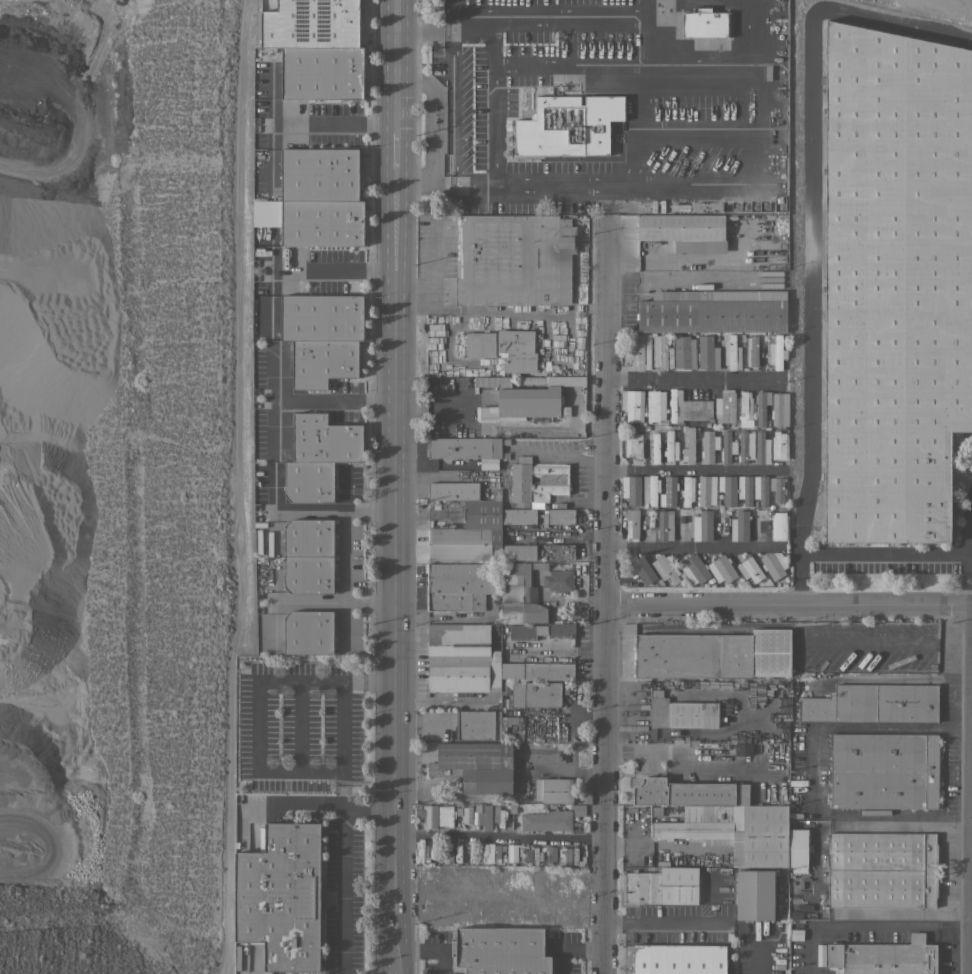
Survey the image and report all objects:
road: (454, 16)
road: (554, 16)
building: (705, 23)
building: (311, 24)
road: (745, 24)
road: (427, 33)
building: (322, 73)
road: (495, 102)
road: (455, 110)
gas station: (433, 113)
road: (435, 116)
road: (338, 121)
building: (568, 125)
building: (320, 174)
road: (417, 180)
road: (445, 184)
road: (669, 186)
building: (312, 221)
road: (811, 223)
building: (686, 231)
building: (515, 260)
road: (339, 271)
building: (895, 281)
building: (713, 311)
building: (321, 317)
building: (502, 348)
building: (640, 351)
building: (661, 351)
building: (752, 351)
building: (684, 352)
building: (776, 352)
building: (707, 353)
building: (731, 353)
building: (322, 362)
building: (482, 380)
road: (696, 381)
road: (339, 397)
building: (526, 403)
building: (632, 404)
building: (655, 405)
building: (675, 405)
building: (761, 406)
building: (725, 408)
building: (697, 409)
building: (745, 409)
building: (777, 409)
building: (325, 439)
building: (633, 442)
building: (689, 444)
building: (779, 445)
building: (670, 446)
building: (745, 446)
building: (655, 447)
building: (727, 447)
building: (463, 448)
building: (762, 448)
building: (489, 463)
road: (694, 470)
building: (537, 480)
building: (308, 481)
quarry: (117, 483)
road: (400, 486)
building: (669, 487)
building: (777, 488)
building: (631, 489)
building: (727, 489)
building: (745, 489)
building: (760, 489)
building: (453, 490)
building: (687, 490)
building: (651, 491)
building: (706, 491)
building: (496, 494)
road: (338, 508)
building: (518, 516)
building: (561, 516)
building: (632, 523)
building: (665, 525)
building: (705, 525)
building: (742, 525)
building: (778, 525)
building: (469, 534)
building: (308, 539)
road: (690, 547)
building: (519, 551)
building: (561, 551)
road: (343, 555)
road: (884, 555)
building: (772, 565)
building: (666, 568)
building: (641, 569)
building: (694, 569)
building: (722, 569)
building: (751, 569)
building: (308, 576)
building: (557, 580)
building: (459, 585)
building: (520, 593)
road: (610, 594)
road: (791, 598)
road: (338, 602)
building: (561, 630)
building: (528, 631)
building: (308, 632)
building: (713, 654)
building: (462, 658)
building: (510, 671)
building: (548, 671)
building: (536, 694)
building: (874, 703)
building: (681, 712)
road: (584, 716)
road: (299, 724)
building: (502, 724)
parking lot: (299, 725)
building: (475, 725)
road: (830, 727)
road: (758, 731)
road: (255, 742)
building: (741, 749)
building: (475, 765)
building: (884, 770)
building: (554, 790)
building: (689, 792)
road: (298, 803)
building: (578, 808)
building: (498, 813)
building: (427, 814)
building: (466, 814)
building: (448, 815)
building: (486, 815)
building: (547, 820)
building: (735, 831)
road: (503, 835)
building: (797, 848)
building: (422, 852)
building: (471, 852)
building: (447, 853)
building: (457, 853)
building: (485, 853)
building: (577, 853)
building: (524, 854)
building: (551, 854)
building: (435, 855)
building: (562, 856)
road: (342, 864)
building: (882, 869)
road: (814, 870)
building: (434, 875)
building: (562, 880)
building: (661, 886)
building: (754, 894)
building: (281, 896)
building: (455, 910)
road: (665, 924)
road: (869, 926)
road: (434, 947)
building: (501, 950)
road: (748, 950)
building: (819, 954)
building: (883, 957)
building: (679, 959)

